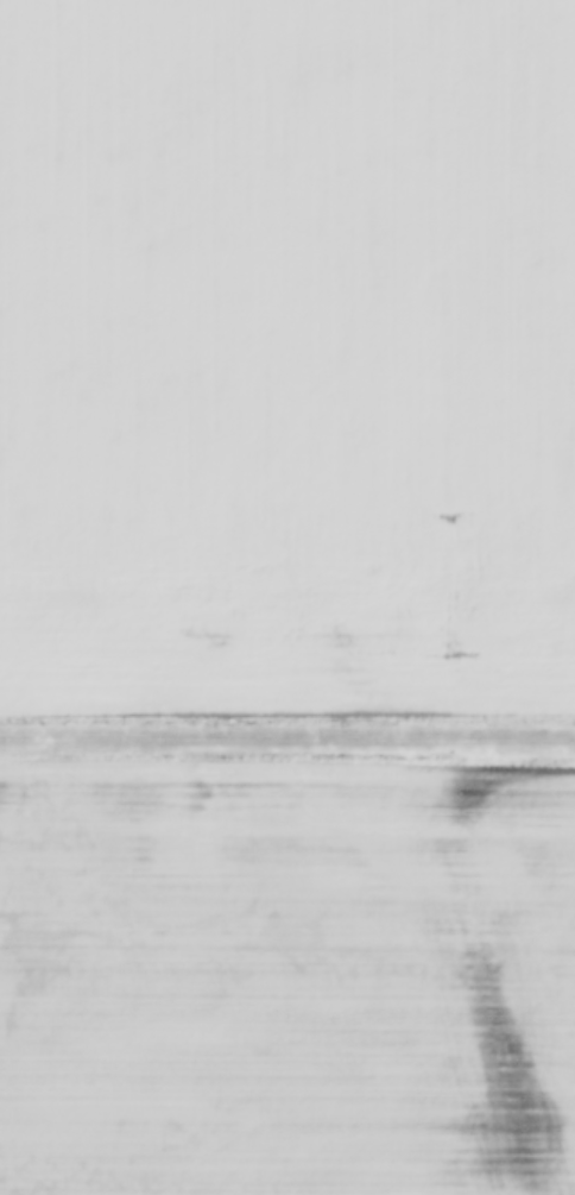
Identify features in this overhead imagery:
road: (287, 736)

